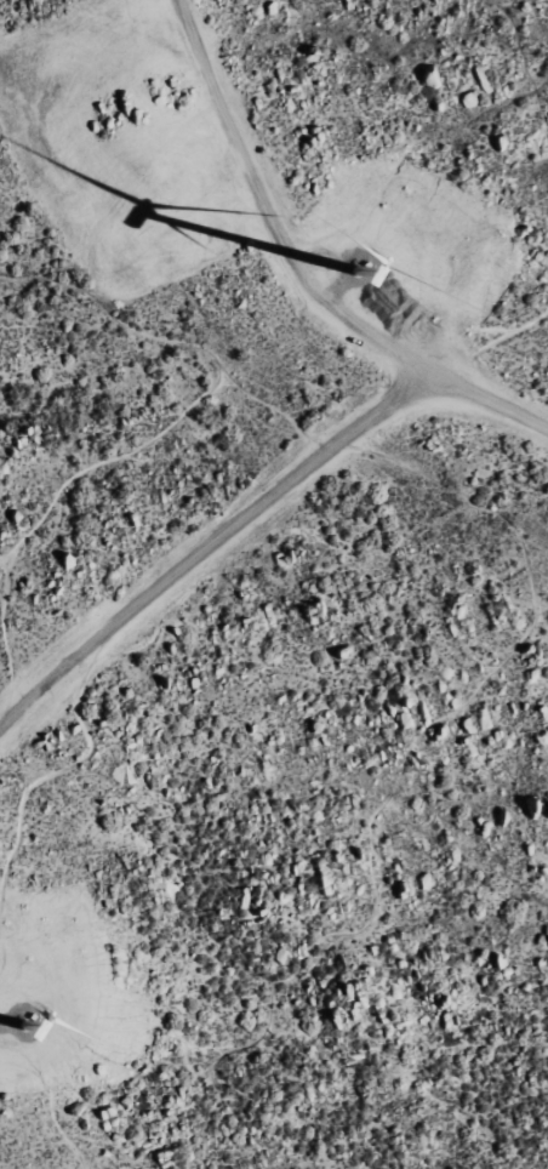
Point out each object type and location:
building: (429, 76)
wind turbine: (373, 263)
road: (303, 268)
road: (165, 357)
road: (210, 548)
road: (53, 779)
wind turbine: (24, 1034)

